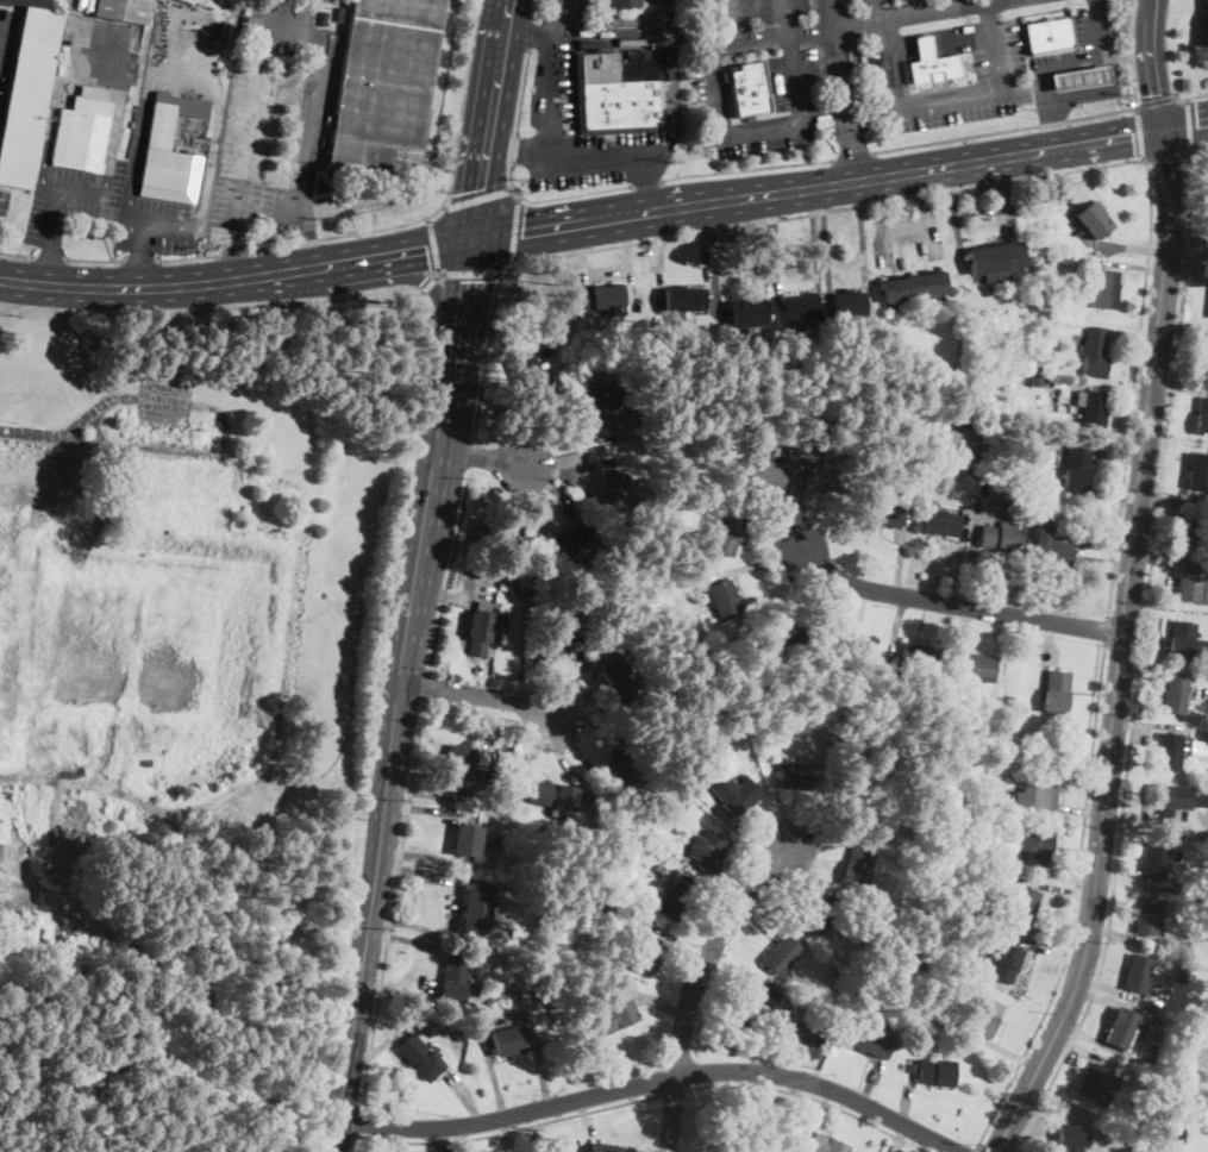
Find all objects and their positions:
parking lot: (1043, 2)
building: (620, 4)
parking lot: (663, 6)
road: (915, 6)
road: (1097, 7)
parking lot: (564, 8)
parking lot: (777, 8)
building: (123, 10)
road: (536, 10)
road: (871, 10)
road: (562, 14)
road: (665, 14)
road: (785, 17)
road: (733, 20)
road: (849, 23)
parking lot: (283, 27)
road: (586, 30)
road: (532, 36)
building: (1047, 36)
road: (79, 37)
road: (1096, 37)
building: (1207, 37)
road: (939, 38)
parking lot: (6, 43)
parking lot: (1084, 46)
road: (1169, 48)
road: (1131, 54)
road: (1091, 61)
building: (931, 63)
road: (1156, 63)
parking lot: (1000, 64)
road: (149, 75)
building: (1077, 79)
building: (383, 82)
road: (318, 83)
parking lot: (552, 86)
parking lot: (796, 86)
road: (841, 89)
building: (29, 92)
building: (618, 93)
building: (747, 94)
road: (1082, 94)
road: (951, 98)
road: (1190, 98)
road: (1154, 100)
road: (1051, 108)
road: (492, 117)
road: (250, 123)
road: (672, 123)
road: (1188, 125)
road: (762, 129)
traffic signals: (1164, 129)
road: (1003, 130)
building: (83, 132)
road: (1140, 133)
building: (157, 145)
parking lot: (270, 145)
road: (517, 146)
road: (1197, 150)
road: (1166, 155)
road: (546, 156)
road: (850, 157)
road: (745, 168)
road: (1089, 179)
road: (511, 181)
road: (840, 181)
road: (645, 182)
parking lot: (80, 188)
road: (98, 193)
road: (1004, 194)
parking lot: (4, 199)
road: (477, 199)
road: (445, 202)
road: (956, 204)
road: (927, 207)
road: (269, 209)
road: (827, 209)
road: (982, 209)
road: (56, 217)
building: (1094, 219)
road: (880, 223)
parking lot: (158, 225)
road: (515, 230)
road: (905, 230)
building: (1081, 230)
road: (307, 233)
traffic signals: (474, 234)
road: (827, 236)
road: (813, 237)
road: (433, 243)
road: (663, 244)
road: (863, 244)
road: (418, 245)
road: (1133, 248)
road: (705, 251)
road: (720, 252)
road: (232, 253)
road: (766, 253)
road: (232, 255)
road: (18, 256)
road: (140, 256)
road: (50, 259)
road: (337, 261)
building: (994, 261)
road: (142, 262)
road: (849, 262)
road: (48, 263)
road: (1134, 264)
road: (1185, 270)
road: (607, 271)
road: (437, 273)
road: (440, 273)
road: (474, 273)
road: (415, 275)
road: (427, 283)
road: (156, 284)
building: (913, 287)
building: (1106, 289)
building: (601, 296)
building: (684, 300)
building: (847, 303)
building: (800, 308)
road: (212, 309)
building: (747, 313)
building: (1207, 315)
road: (1183, 327)
building: (824, 330)
road: (1131, 338)
building: (1076, 342)
road: (487, 353)
building: (1094, 353)
building: (1204, 356)
building: (1037, 369)
building: (527, 372)
building: (1009, 378)
building: (1034, 381)
road: (1179, 386)
road: (1102, 387)
road: (1133, 387)
road: (164, 400)
parking lot: (163, 401)
road: (542, 408)
building: (605, 408)
building: (1093, 409)
road: (552, 414)
building: (1201, 417)
building: (830, 418)
road: (73, 428)
road: (562, 440)
road: (1177, 443)
road: (173, 450)
road: (474, 455)
road: (480, 456)
road: (1119, 456)
road: (576, 467)
building: (1075, 469)
building: (966, 470)
building: (1197, 471)
building: (764, 476)
building: (830, 478)
road: (558, 484)
building: (611, 490)
road: (521, 496)
road: (539, 496)
road: (793, 496)
road: (1171, 502)
building: (1012, 511)
building: (885, 512)
road: (805, 519)
building: (941, 524)
building: (1194, 528)
building: (727, 531)
road: (770, 532)
building: (493, 533)
building: (572, 539)
building: (997, 539)
road: (446, 543)
road: (903, 552)
building: (1050, 552)
road: (1102, 553)
road: (1164, 556)
road: (959, 562)
road: (747, 566)
road: (971, 568)
road: (1171, 570)
road: (451, 572)
building: (527, 575)
building: (682, 581)
building: (1188, 583)
building: (505, 584)
building: (531, 594)
road: (452, 596)
building: (722, 600)
road: (833, 605)
road: (954, 605)
road: (844, 608)
road: (1166, 613)
road: (895, 625)
road: (965, 627)
building: (782, 630)
building: (481, 631)
road: (1107, 632)
road: (1050, 640)
building: (1187, 643)
building: (857, 644)
building: (564, 646)
road: (1120, 650)
building: (918, 656)
road: (1138, 660)
building: (974, 666)
road: (1153, 668)
road: (486, 670)
building: (618, 678)
road: (426, 687)
road: (567, 690)
building: (1056, 690)
road: (398, 691)
road: (586, 693)
building: (864, 693)
road: (478, 694)
building: (1175, 695)
building: (1008, 701)
road: (596, 712)
road: (586, 720)
road: (487, 722)
road: (1148, 724)
building: (835, 744)
road: (577, 749)
building: (1197, 749)
building: (1170, 750)
road: (534, 751)
road: (562, 756)
building: (628, 762)
building: (461, 769)
building: (795, 776)
road: (88, 783)
road: (423, 791)
building: (1038, 791)
building: (736, 794)
building: (552, 795)
building: (1202, 799)
building: (1166, 801)
building: (851, 804)
building: (1194, 804)
building: (1203, 806)
road: (420, 808)
road: (1082, 808)
road: (789, 821)
road: (810, 826)
road: (1154, 827)
road: (749, 832)
building: (885, 837)
building: (496, 838)
building: (467, 840)
road: (831, 843)
building: (1034, 845)
building: (495, 849)
building: (708, 850)
road: (415, 853)
building: (1154, 860)
building: (857, 868)
building: (658, 869)
road: (814, 870)
road: (1057, 872)
road: (415, 876)
road: (1131, 879)
road: (724, 887)
road: (1062, 888)
road: (714, 896)
road: (781, 899)
building: (675, 901)
building: (1203, 902)
road: (393, 903)
road: (1074, 904)
building: (993, 906)
building: (1022, 907)
building: (475, 908)
building: (612, 908)
building: (919, 909)
building: (824, 914)
building: (1147, 915)
road: (764, 920)
road: (413, 925)
road: (1118, 935)
road: (408, 939)
road: (680, 940)
building: (871, 945)
building: (644, 950)
road: (1046, 952)
building: (781, 953)
building: (941, 956)
building: (1002, 964)
road: (725, 969)
building: (834, 971)
building: (1138, 972)
building: (1182, 972)
building: (622, 978)
building: (455, 979)
road: (694, 985)
road: (1112, 988)
road: (1107, 998)
building: (752, 1002)
road: (659, 1004)
building: (616, 1015)
road: (503, 1016)
building: (984, 1018)
building: (944, 1022)
building: (1120, 1027)
building: (1140, 1031)
building: (461, 1033)
road: (390, 1039)
building: (509, 1040)
building: (872, 1043)
building: (803, 1050)
road: (1006, 1051)
road: (1085, 1052)
building: (420, 1058)
building: (935, 1072)
building: (1122, 1075)
road: (655, 1082)
road: (870, 1082)
building: (1093, 1087)
road: (672, 1090)
road: (464, 1096)
road: (810, 1097)
road: (908, 1101)
road: (808, 1109)
traffic signals: (339, 1119)
road: (583, 1119)
road: (358, 1123)
building: (1207, 1128)
road: (508, 1131)
road: (506, 1134)
road: (461, 1138)
road: (896, 1138)
building: (1071, 1138)
road: (437, 1139)
building: (763, 1139)
road: (355, 1144)
building: (826, 1145)
building: (600, 1147)
building: (740, 1147)
road: (975, 1148)
road: (983, 1148)
building: (1139, 1150)

